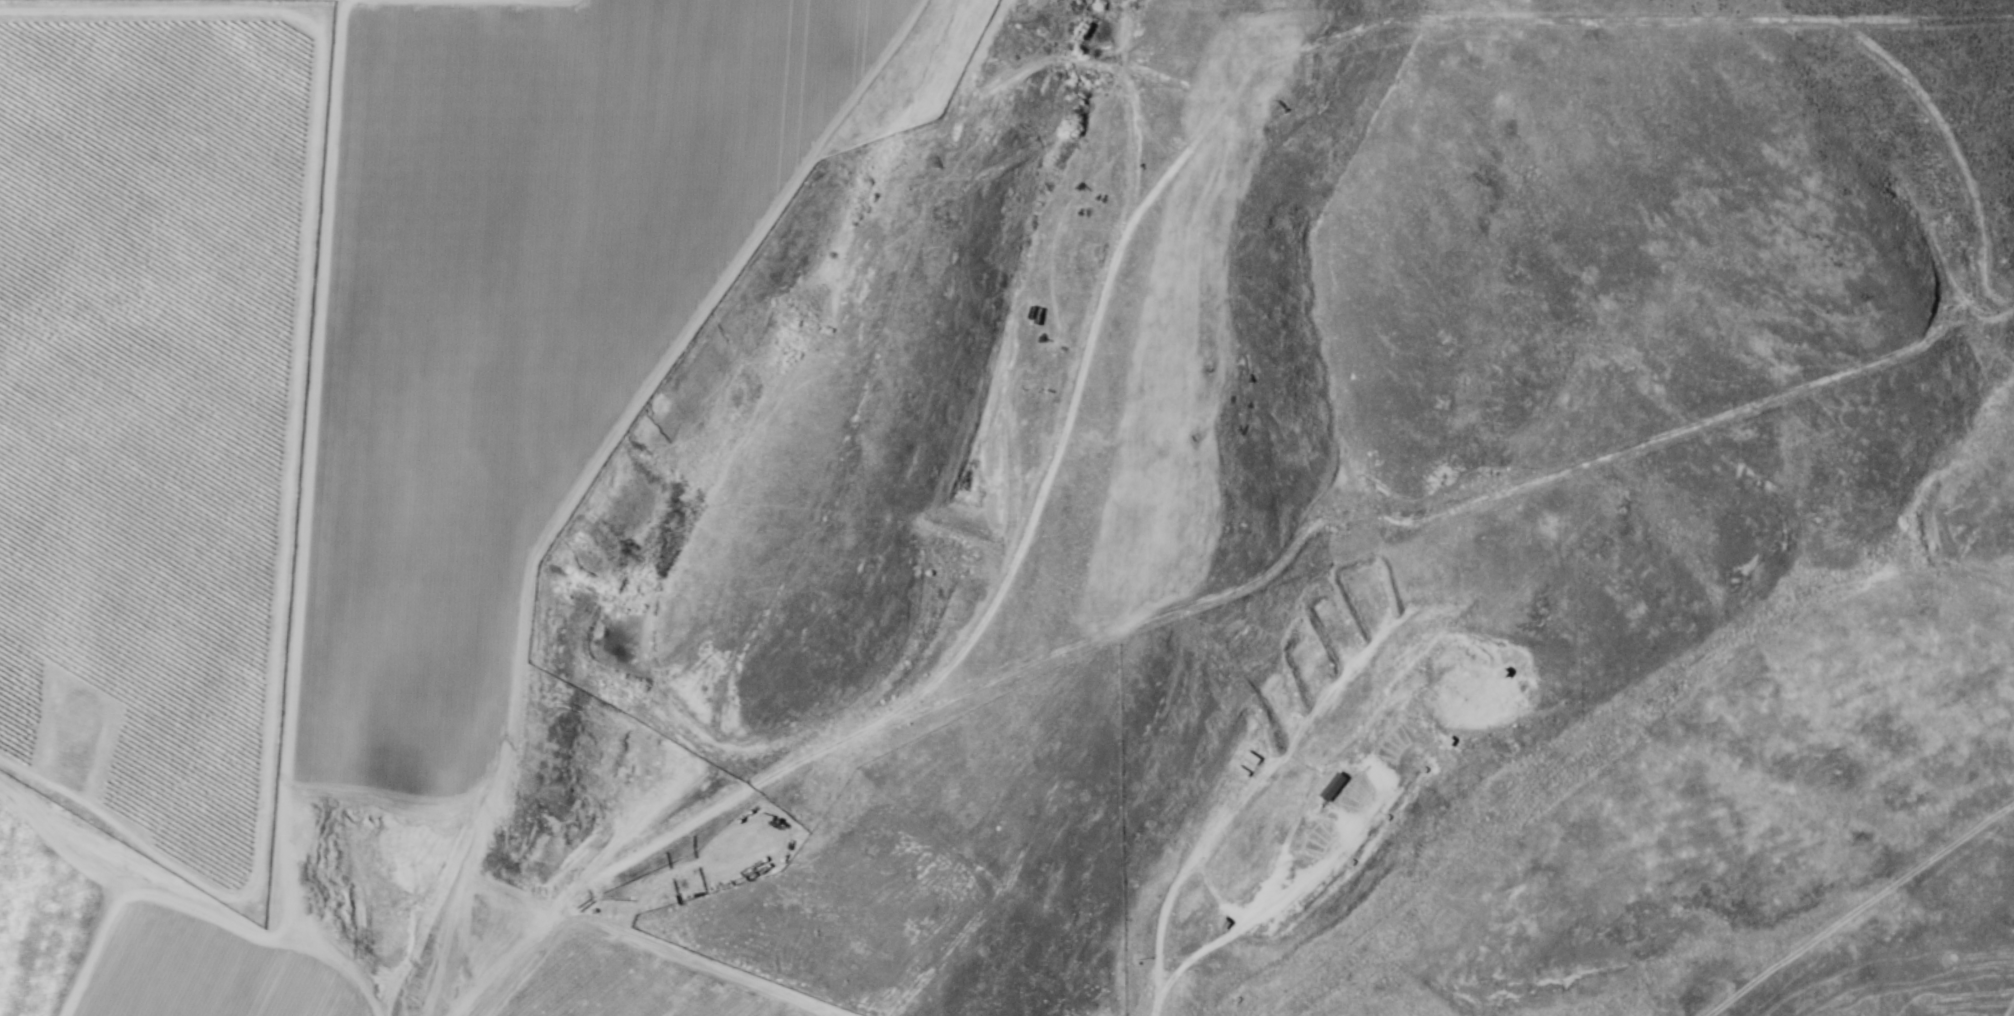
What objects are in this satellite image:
crop: (307, 419)
building: (1355, 630)
building: (1332, 788)
building: (1222, 924)
crop: (609, 982)

